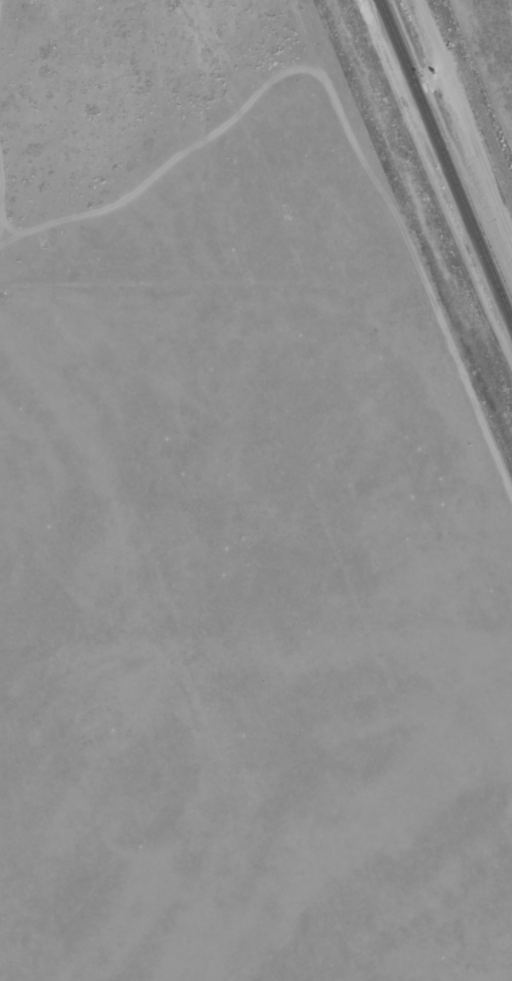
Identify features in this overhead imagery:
railway: (444, 160)

